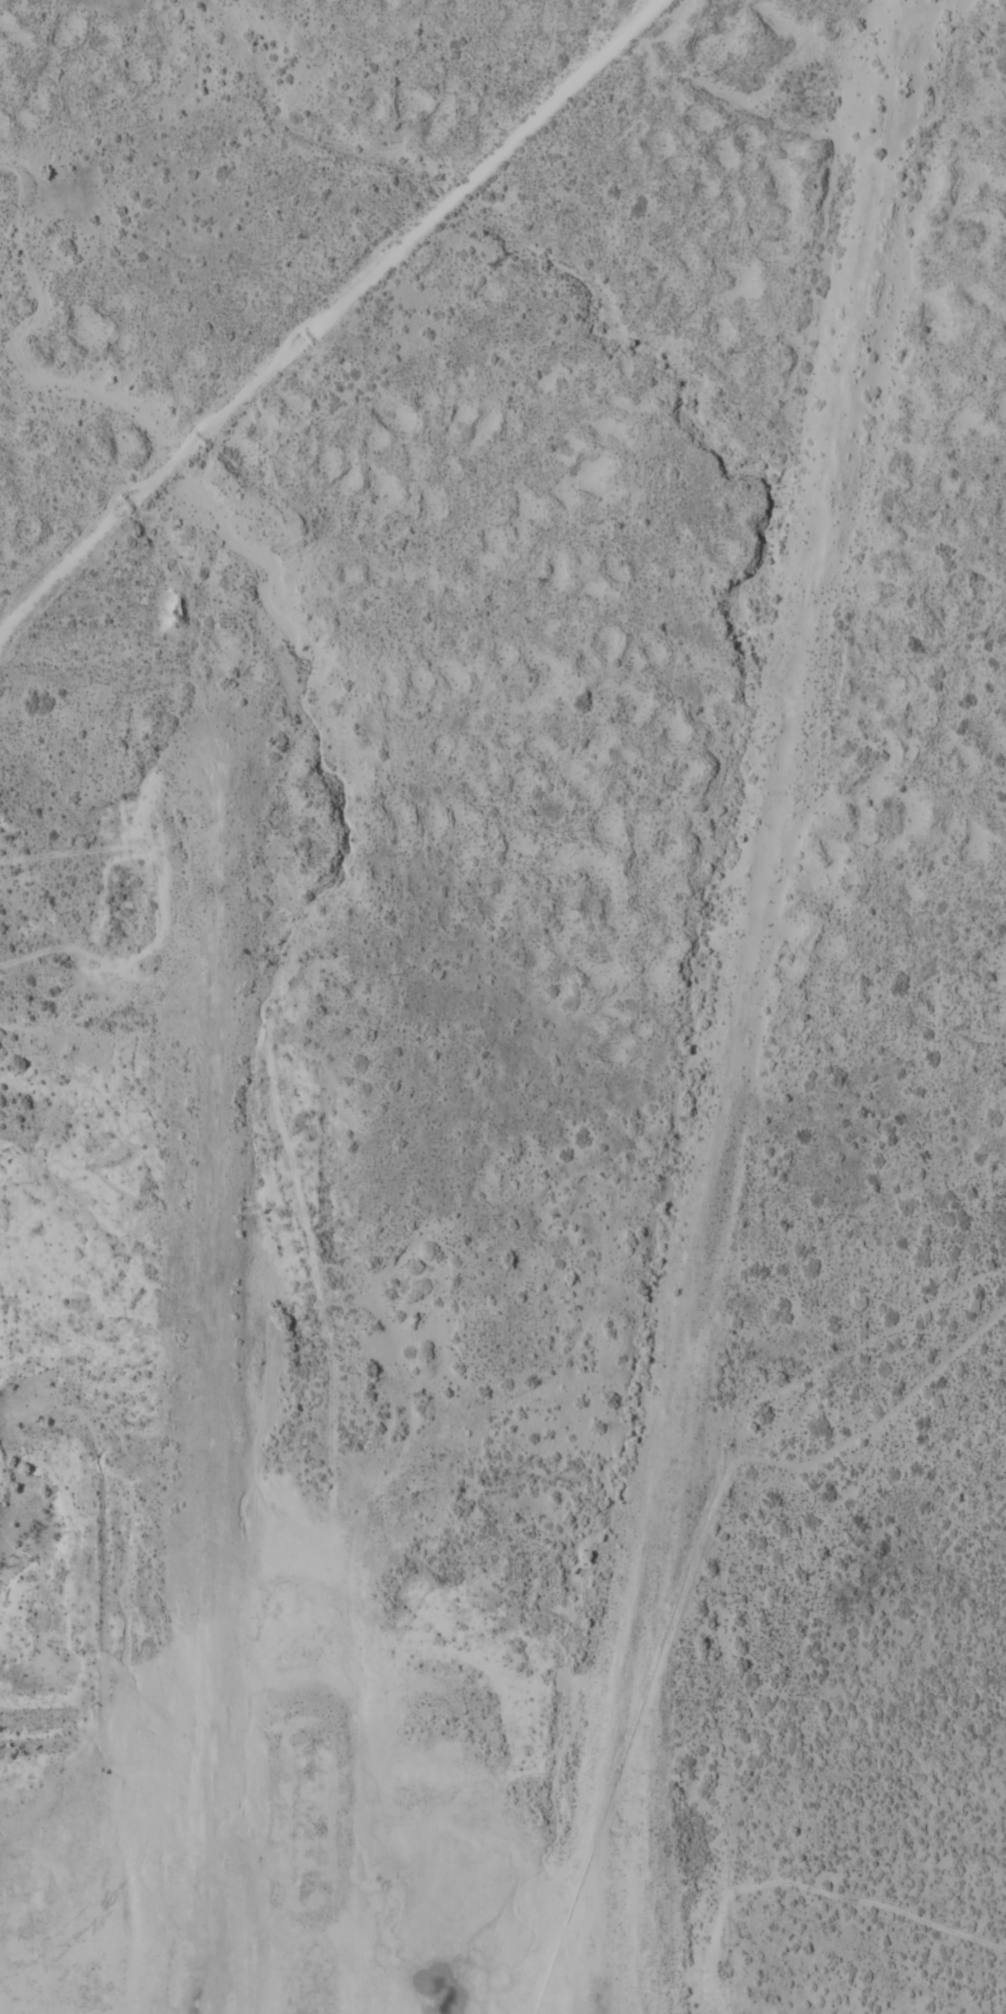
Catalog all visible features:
railway: (895, 81)
road: (325, 318)
railway: (727, 1087)

